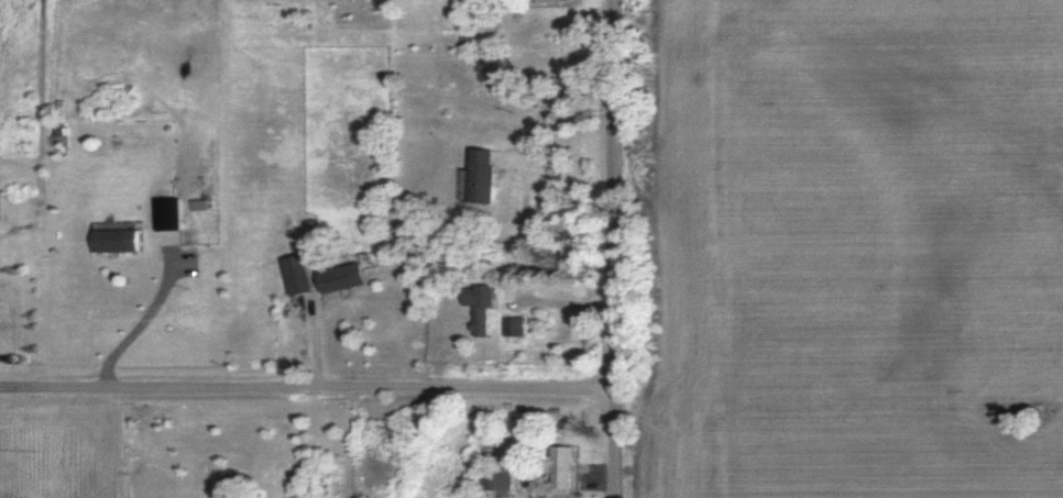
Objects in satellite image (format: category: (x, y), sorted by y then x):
building: (543, 2)
building: (482, 178)
building: (117, 240)
road: (617, 248)
building: (340, 280)
road: (560, 301)
road: (151, 310)
building: (483, 311)
building: (509, 330)
road: (308, 388)
building: (560, 469)
building: (493, 482)

